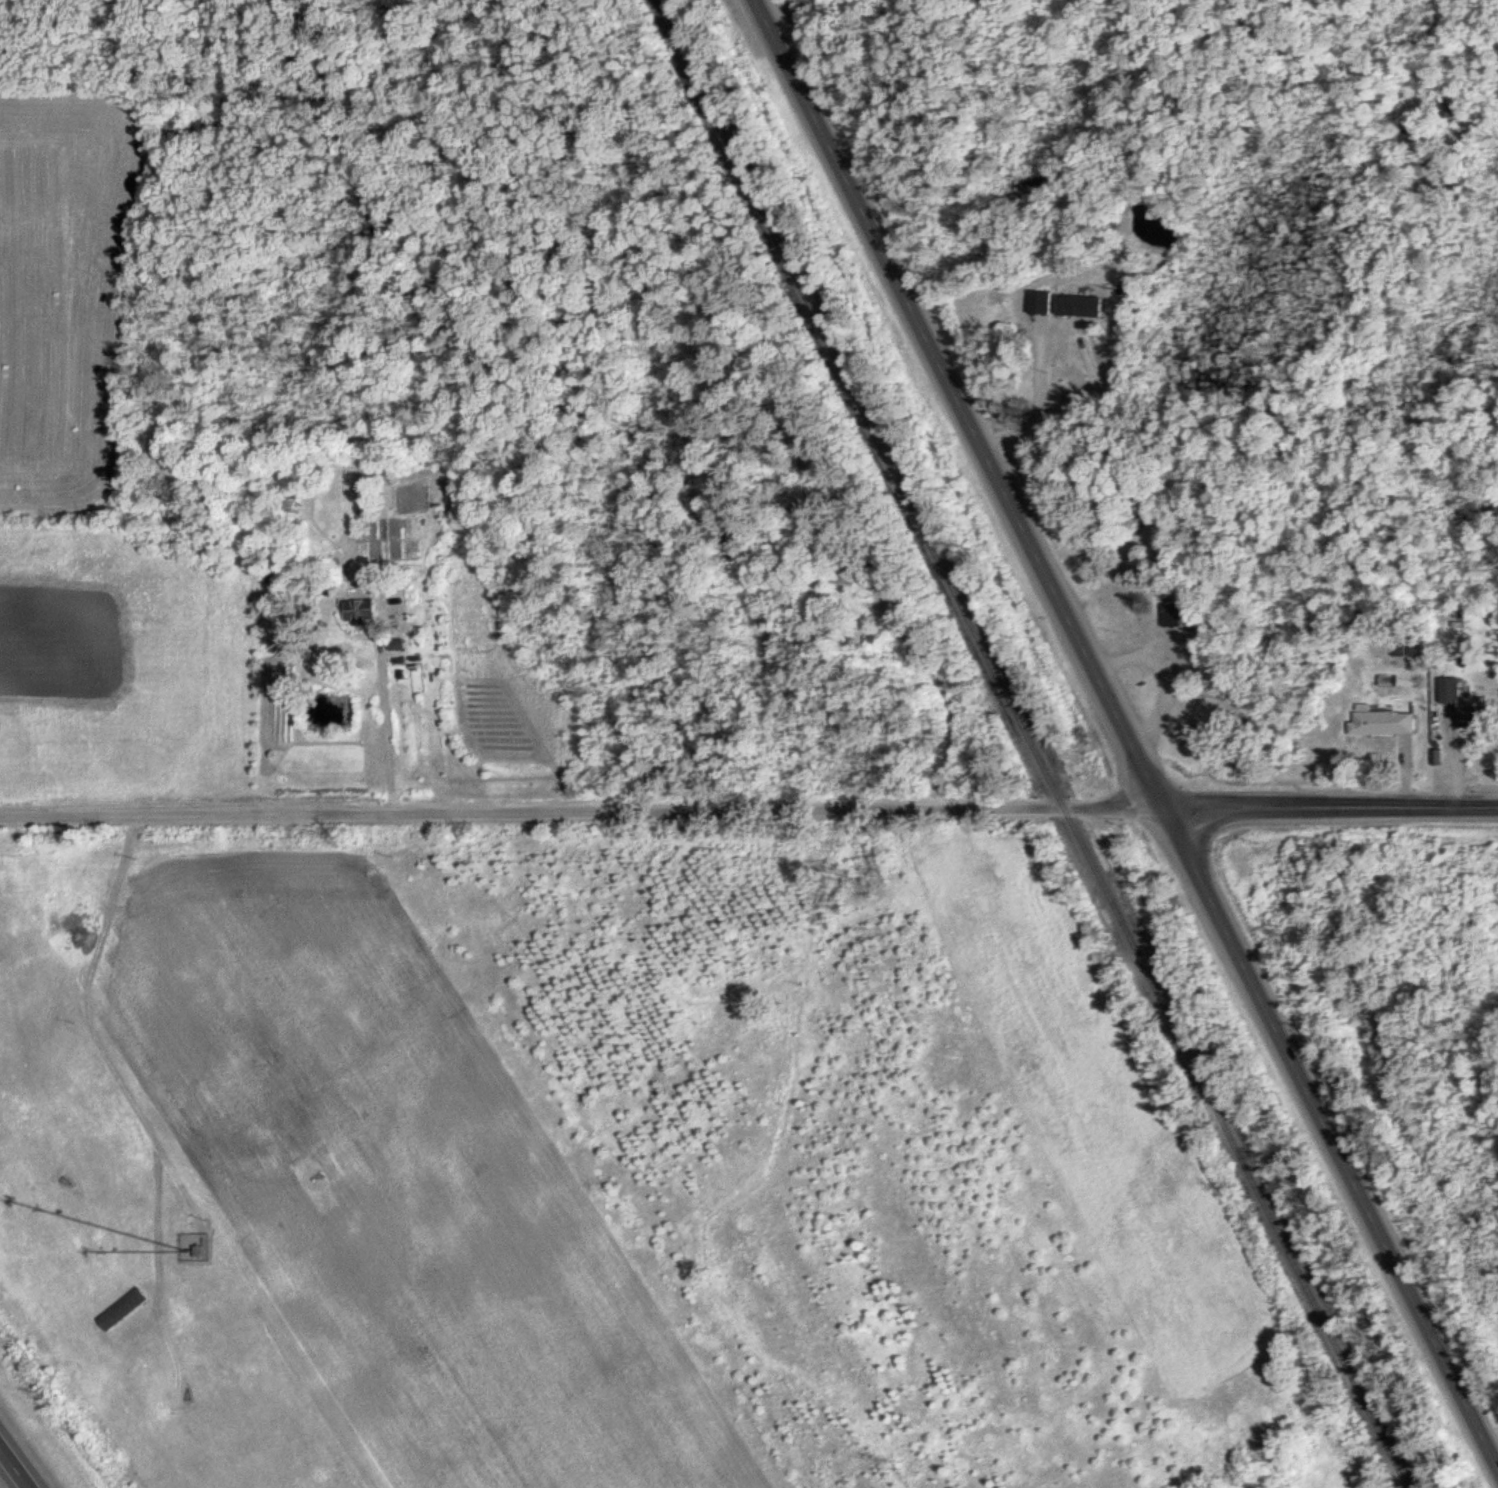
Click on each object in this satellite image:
building: (1046, 301)
building: (1087, 304)
building: (850, 578)
building: (366, 608)
building: (1180, 615)
building: (1138, 632)
building: (1414, 647)
road: (946, 692)
building: (1462, 704)
building: (1380, 722)
road: (1129, 730)
railway: (1033, 743)
road: (1332, 806)
road: (583, 811)
building: (130, 1308)
road: (13, 1469)

